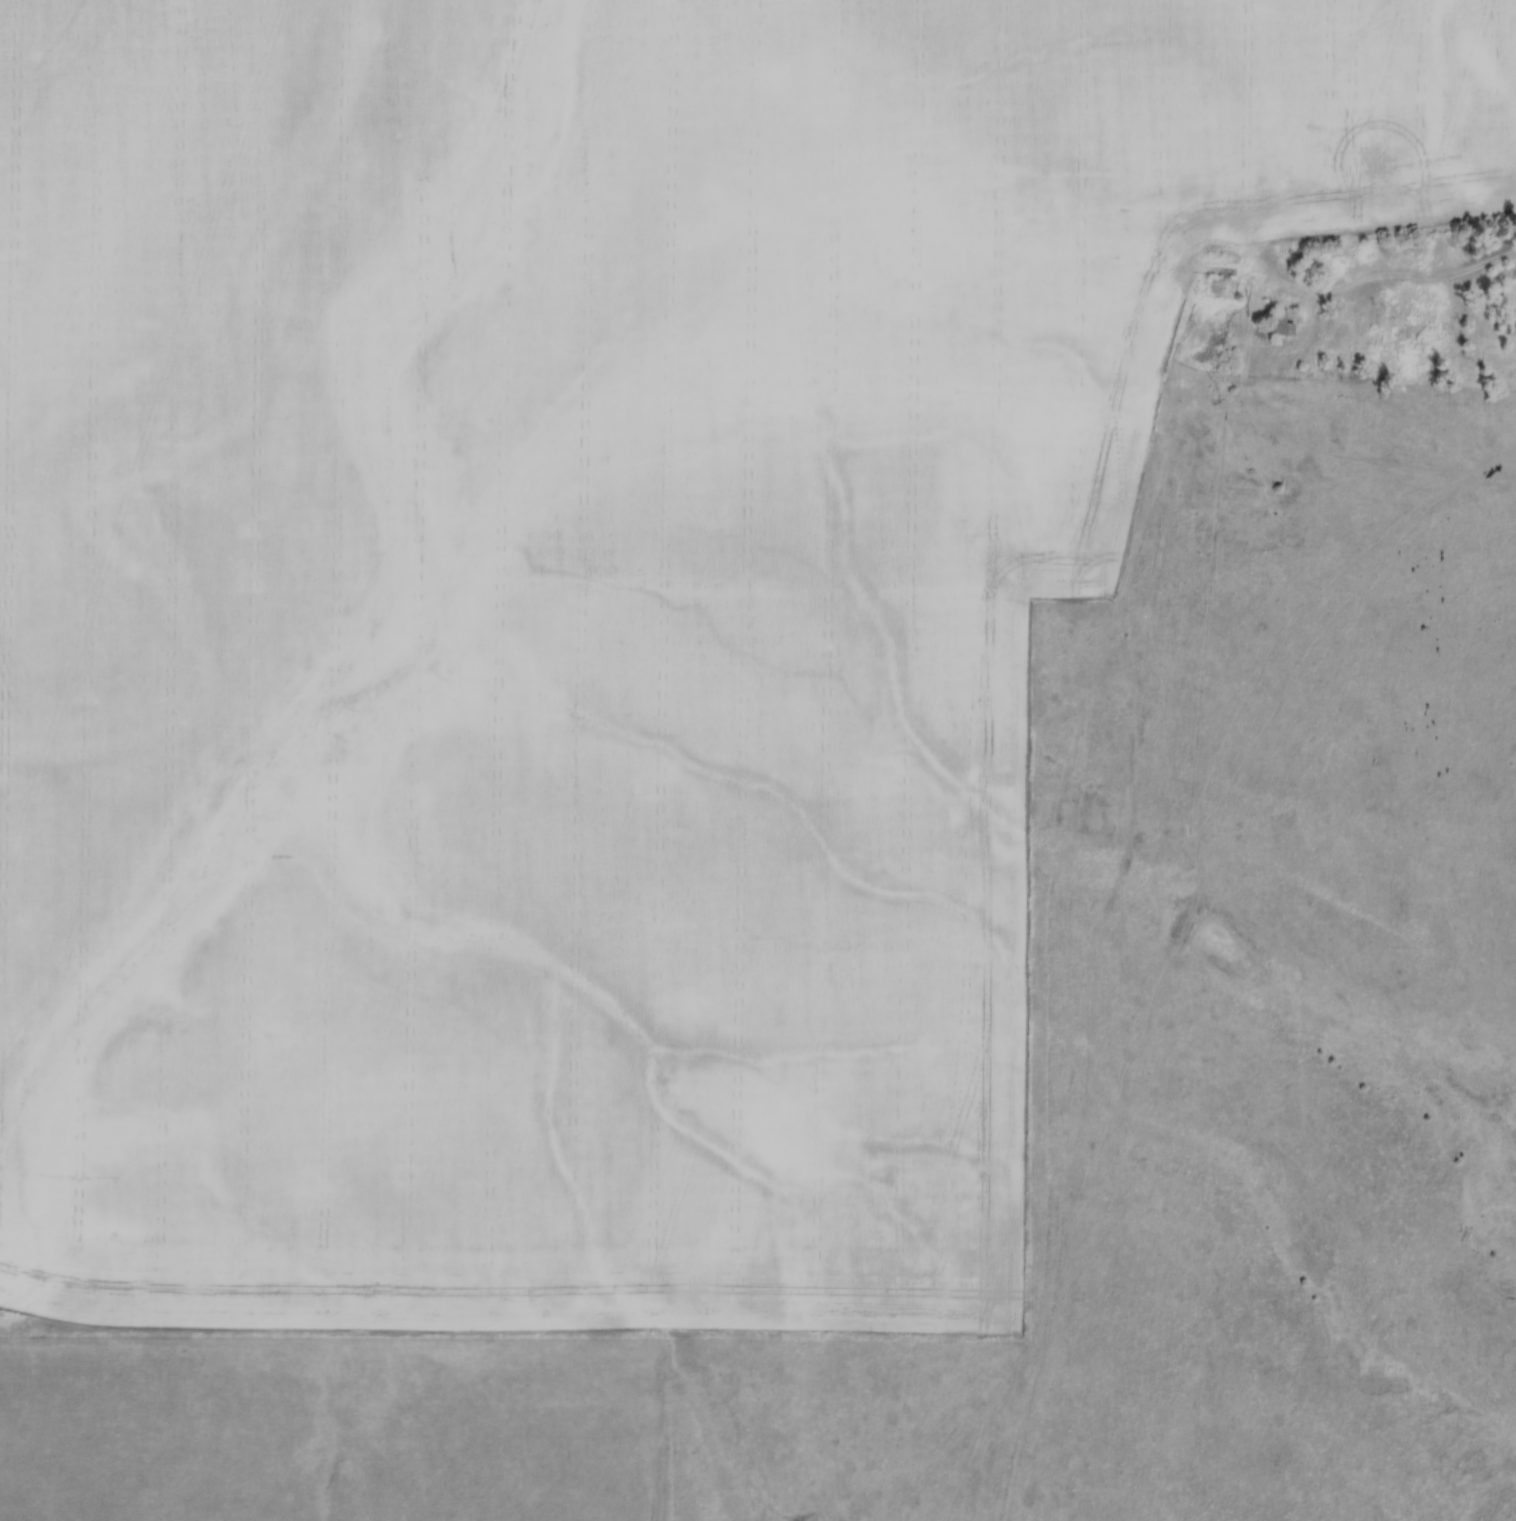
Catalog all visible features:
road: (1415, 277)
building: (1221, 288)
building: (1282, 324)
building: (1406, 331)

